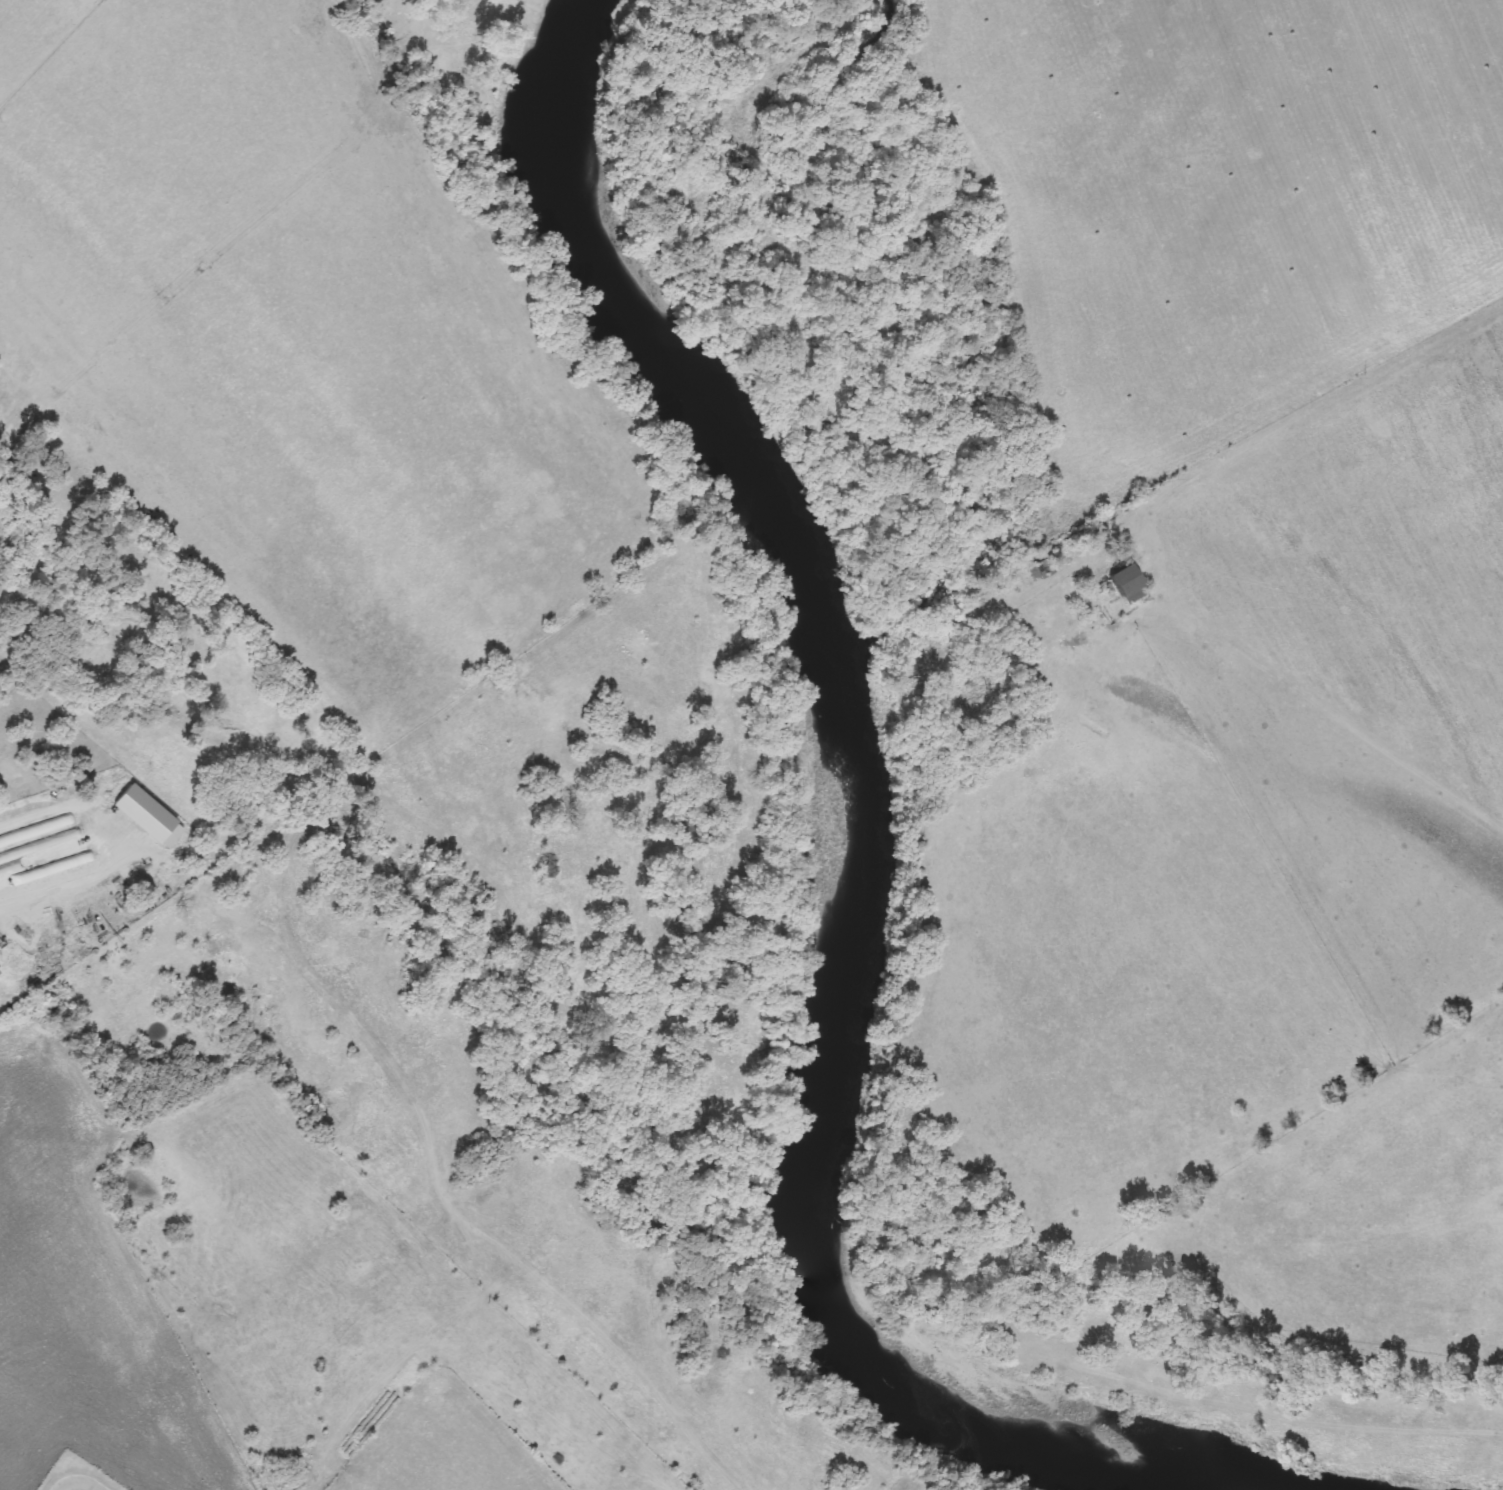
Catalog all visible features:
road: (1323, 406)
building: (1043, 570)
building: (1131, 583)
river: (869, 831)

